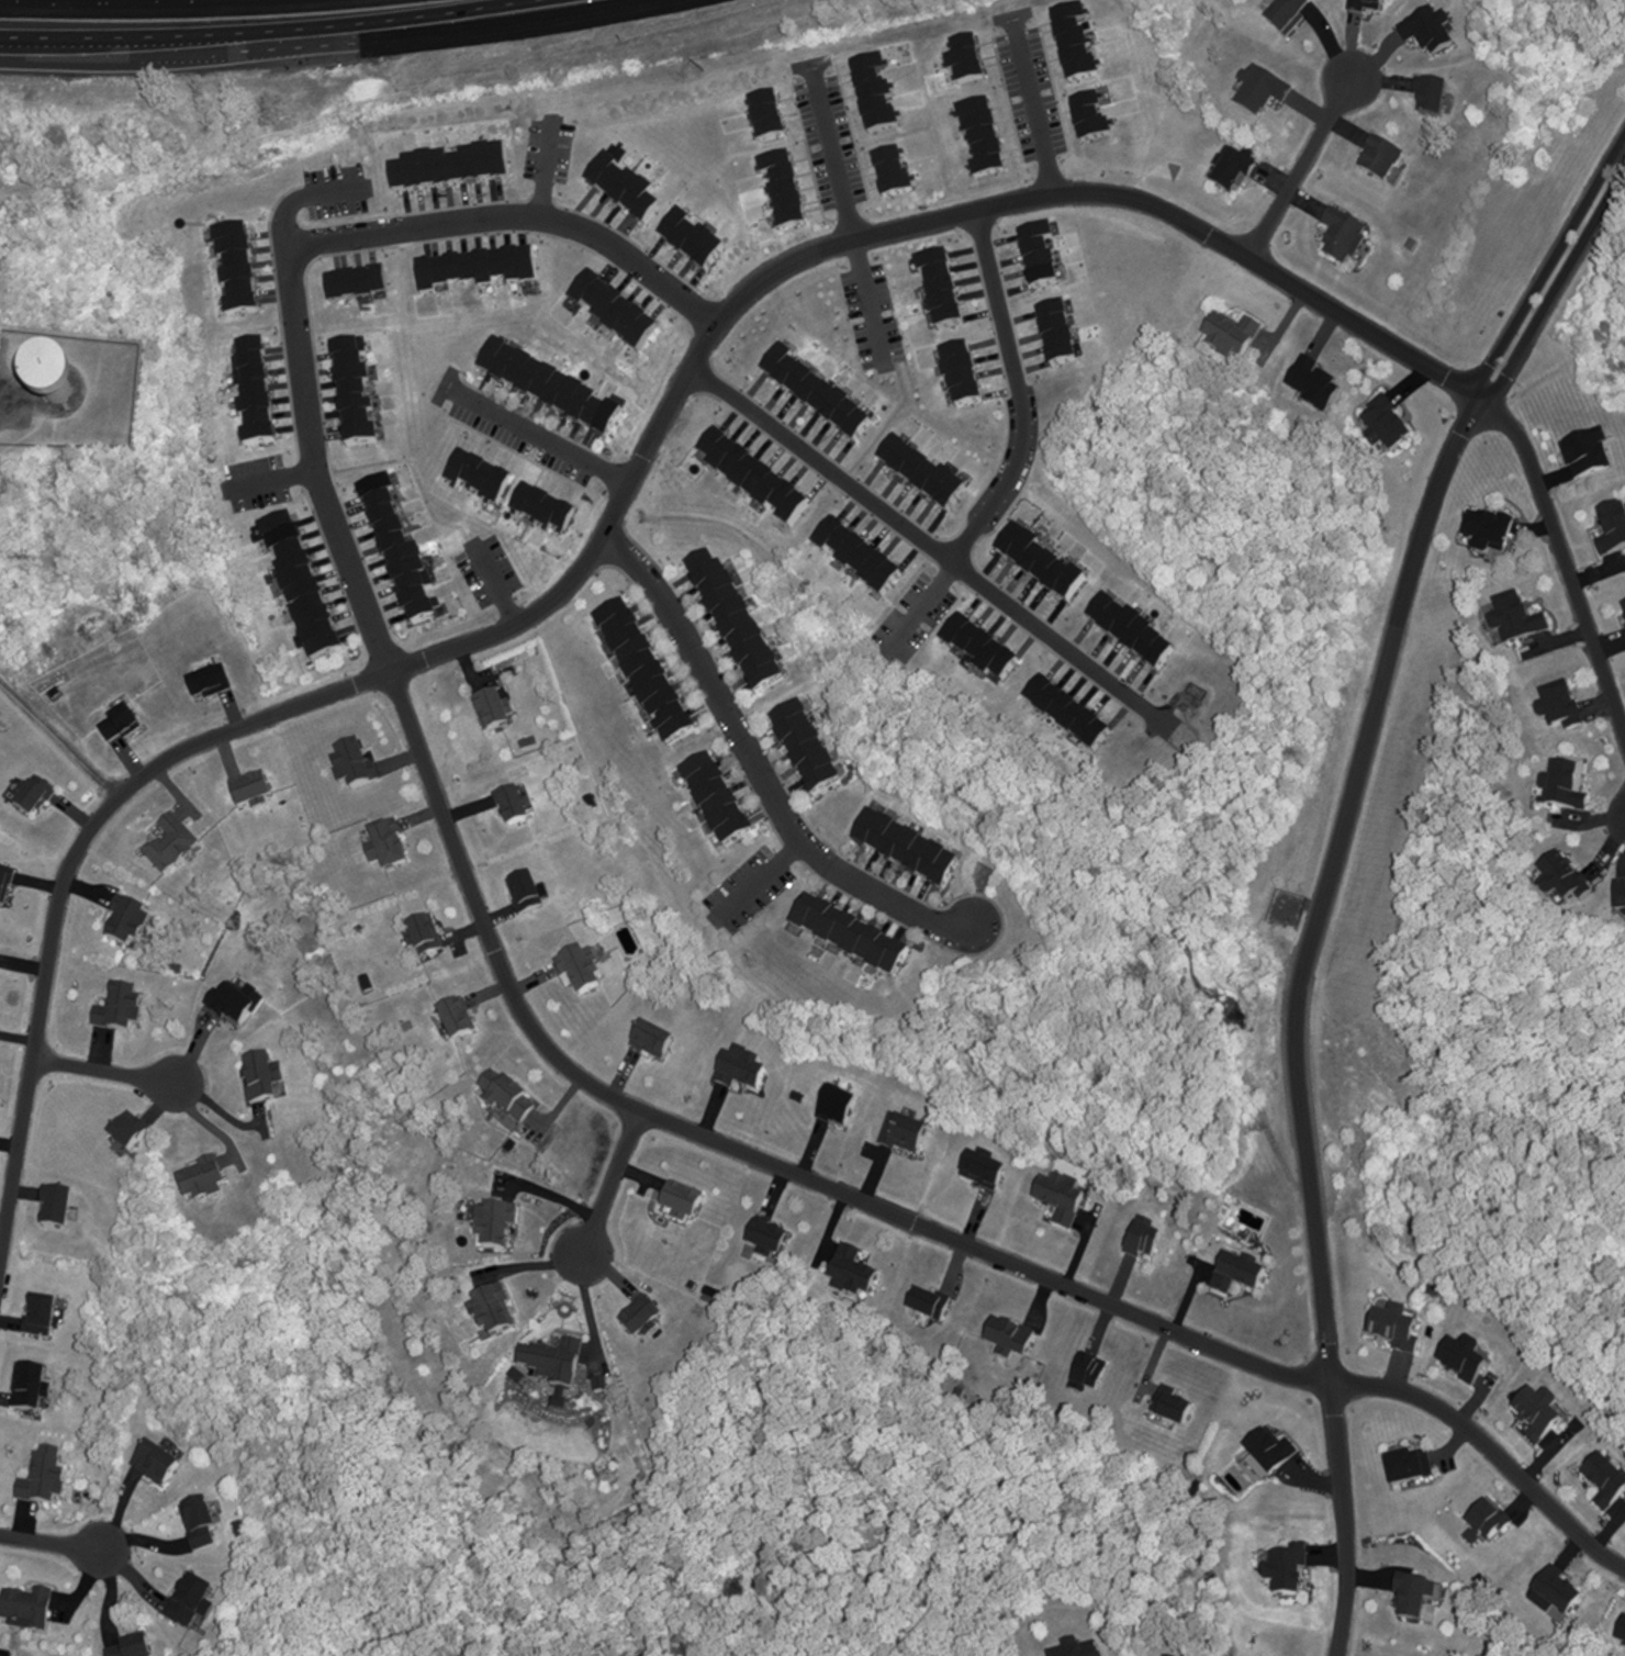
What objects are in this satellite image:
road: (320, 43)
road: (1035, 110)
road: (831, 152)
road: (1298, 170)
road: (296, 240)
road: (865, 293)
road: (1022, 390)
road: (539, 438)
road: (612, 513)
road: (938, 542)
road: (1562, 560)
road: (752, 765)
road: (1326, 874)
road: (101, 1072)
road: (739, 1150)
road: (606, 1178)
road: (1489, 1451)
road: (51, 1540)

